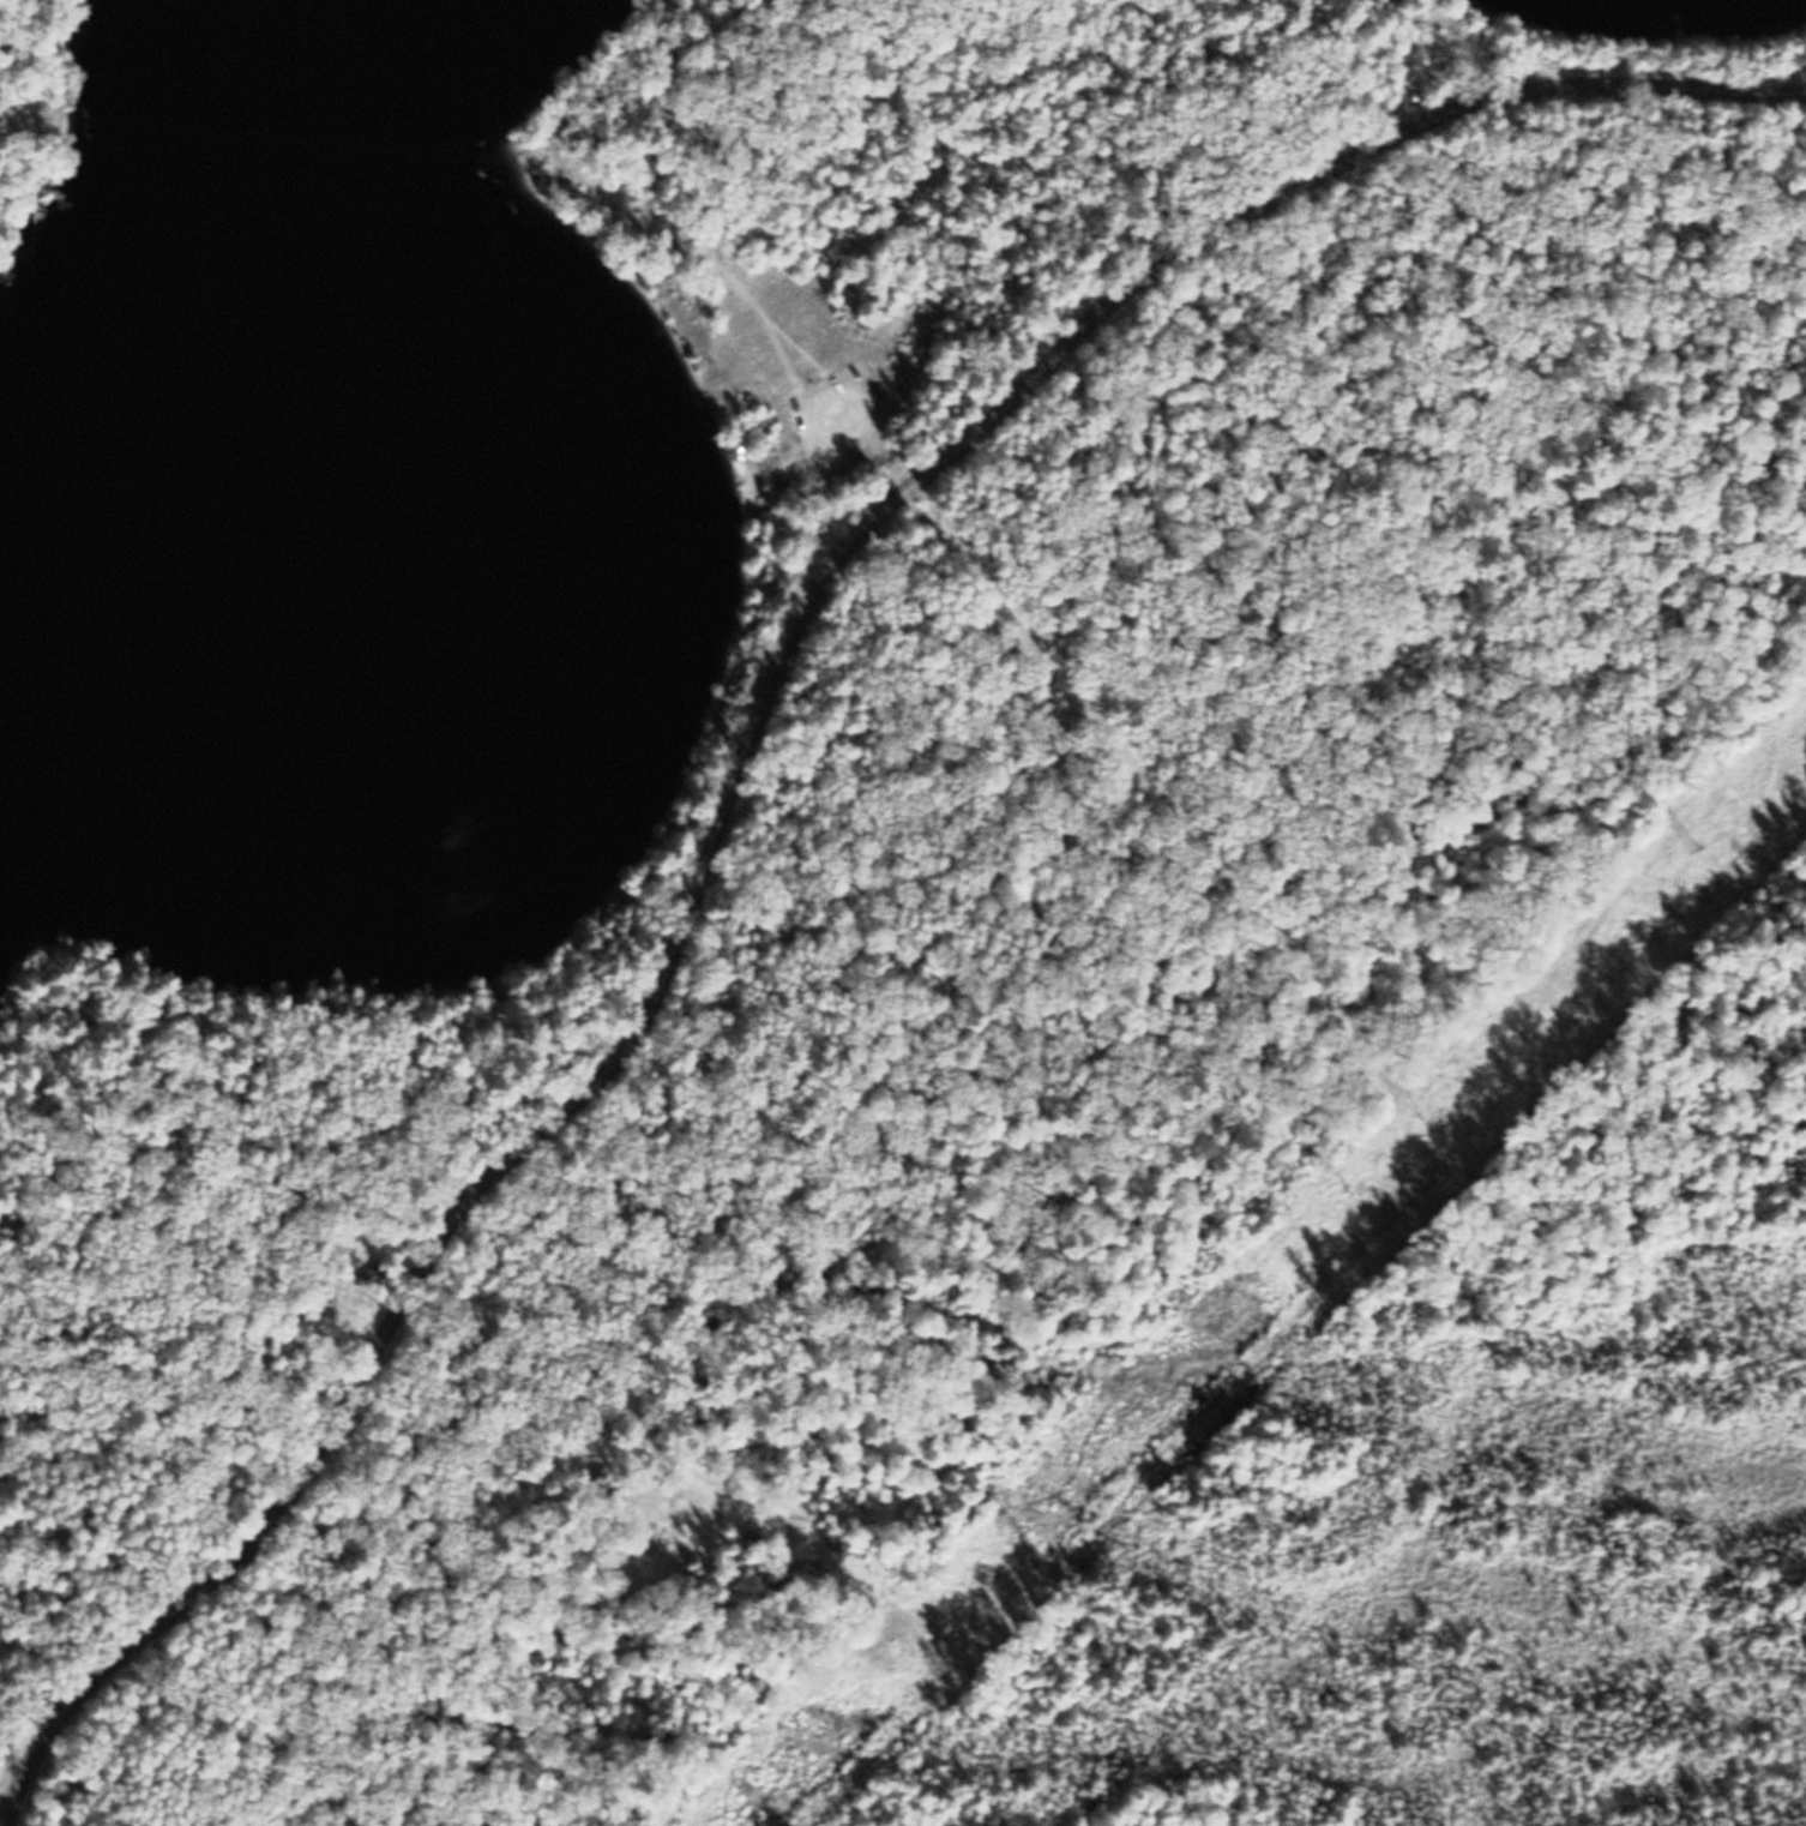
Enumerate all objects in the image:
road: (1440, 60)
road: (23, 112)
road: (606, 179)
river: (289, 326)
parking lot: (833, 415)
road: (827, 499)
road: (742, 743)
power tower: (1684, 845)
power tower: (1513, 1015)
power tower: (1343, 1193)

